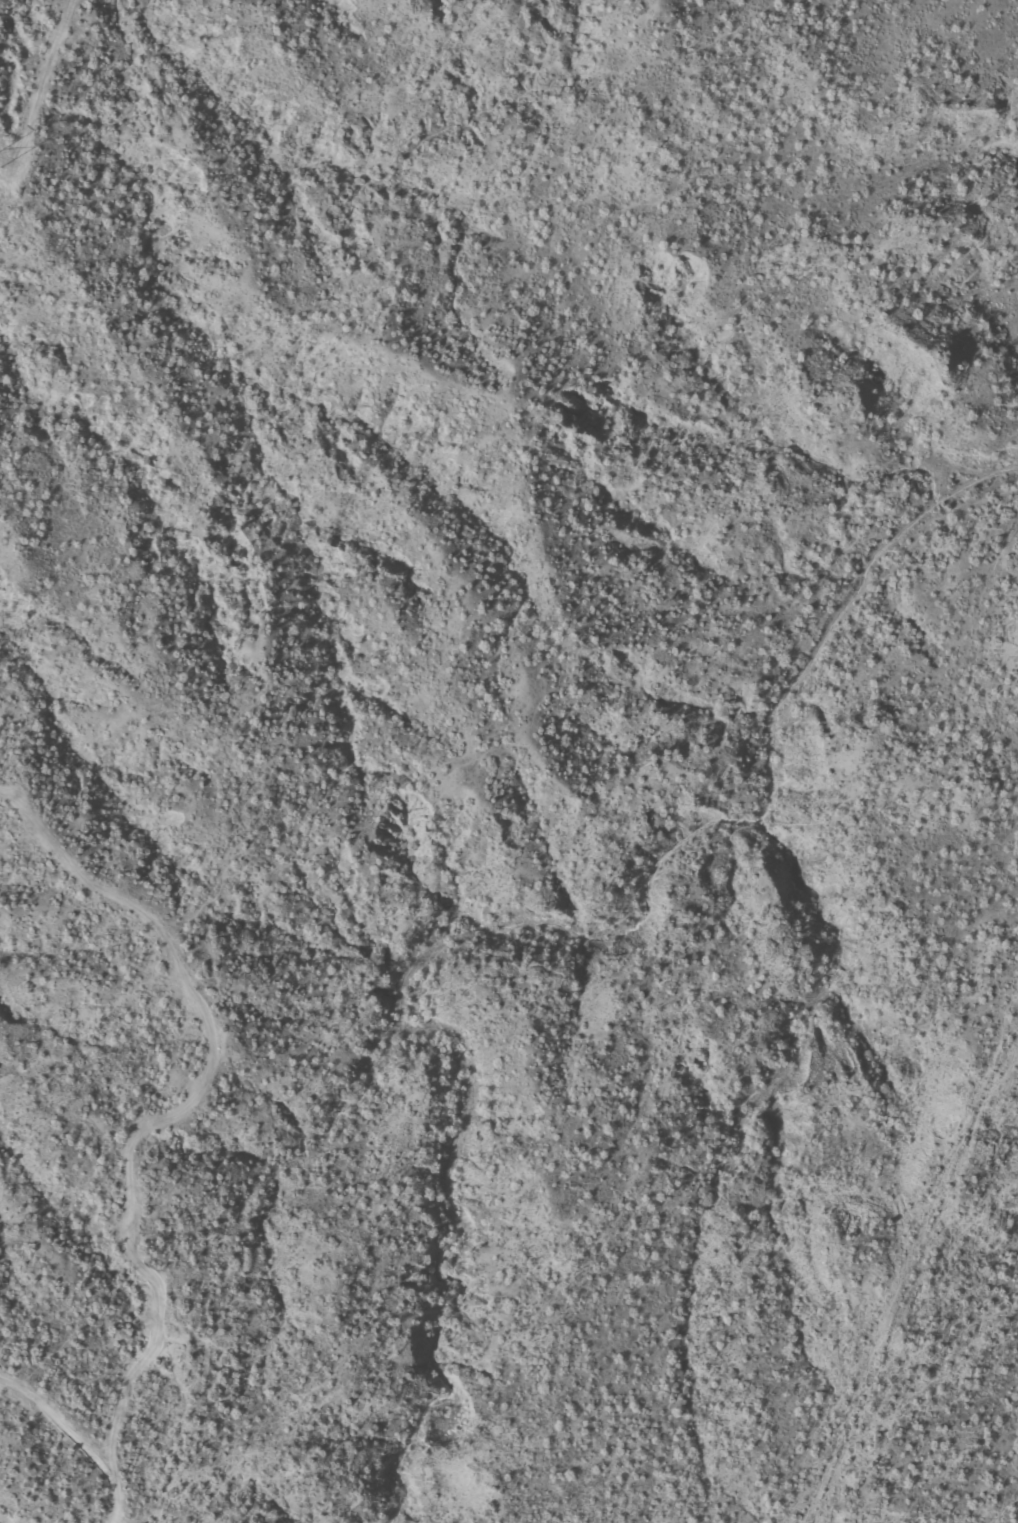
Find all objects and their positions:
road: (835, 1362)

